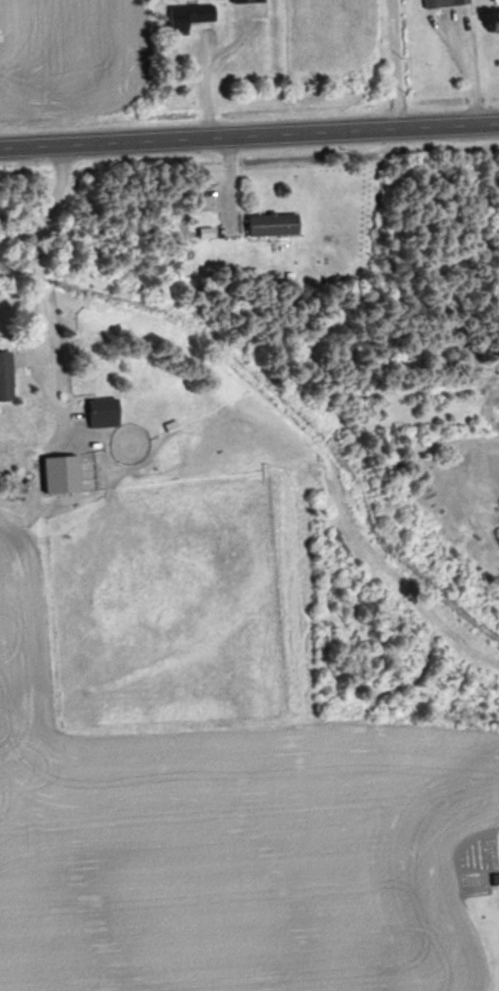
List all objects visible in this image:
building: (495, 0)
building: (246, 1)
building: (442, 3)
building: (187, 17)
road: (249, 136)
building: (271, 225)
building: (5, 376)
building: (101, 412)
building: (60, 475)

